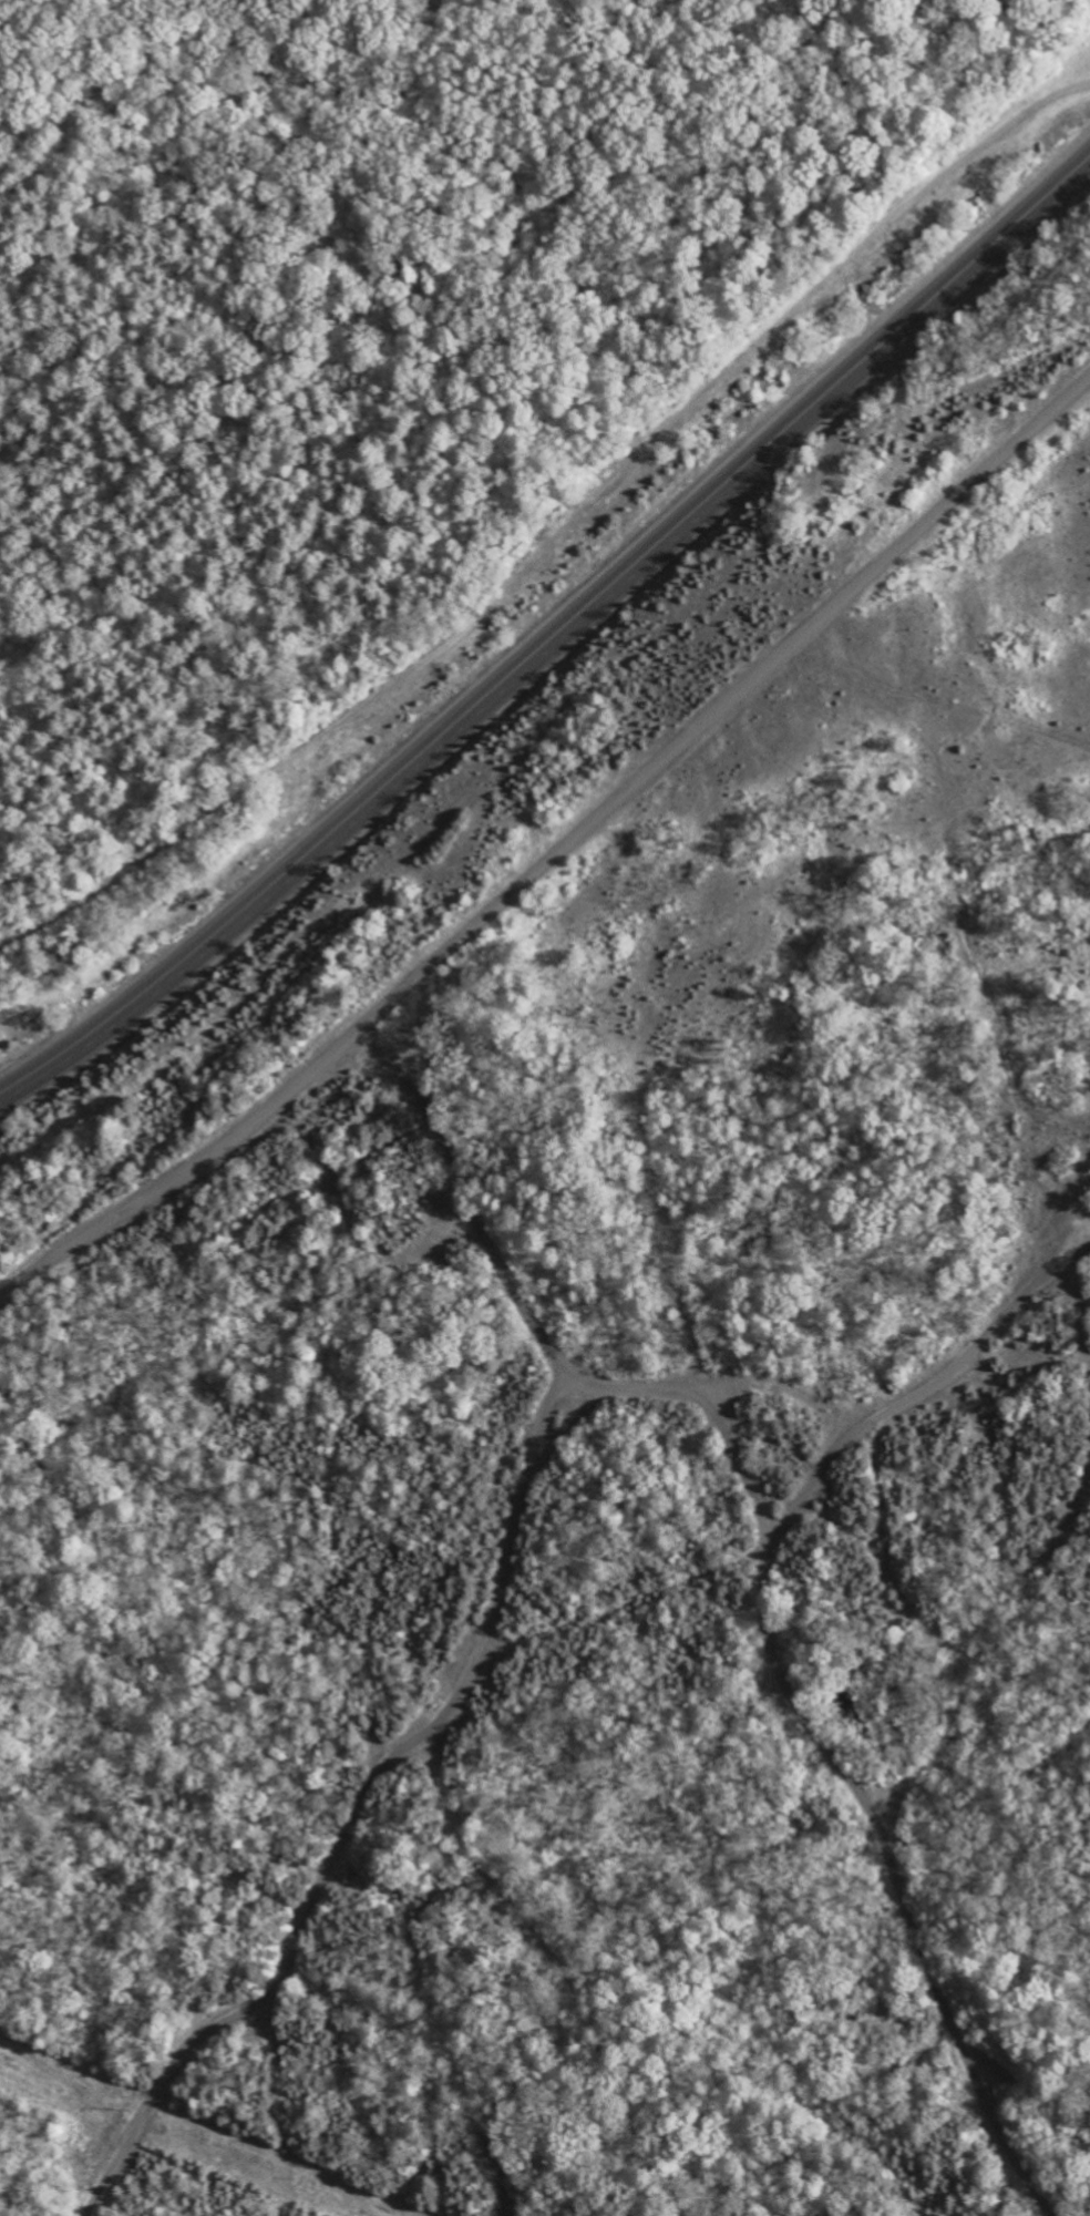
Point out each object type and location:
road: (553, 633)
road: (556, 854)

